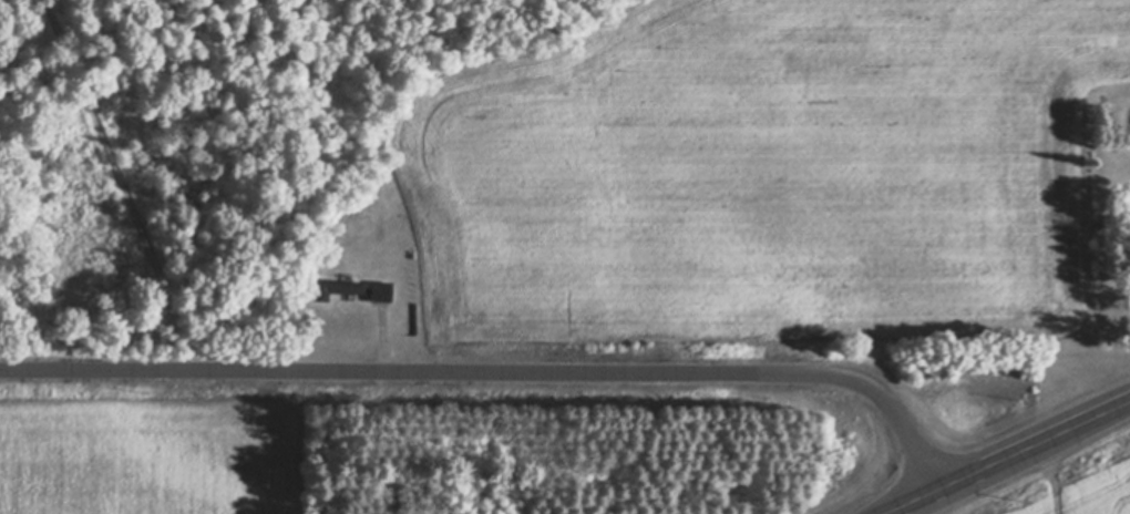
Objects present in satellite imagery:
road: (120, 187)
building: (348, 288)
road: (499, 372)
road: (1007, 458)

